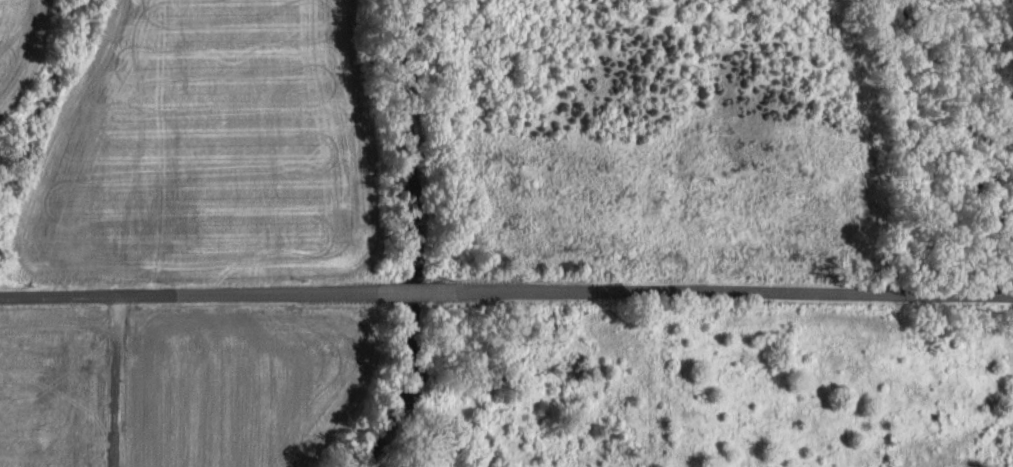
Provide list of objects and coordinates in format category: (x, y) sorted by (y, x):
road: (506, 289)

